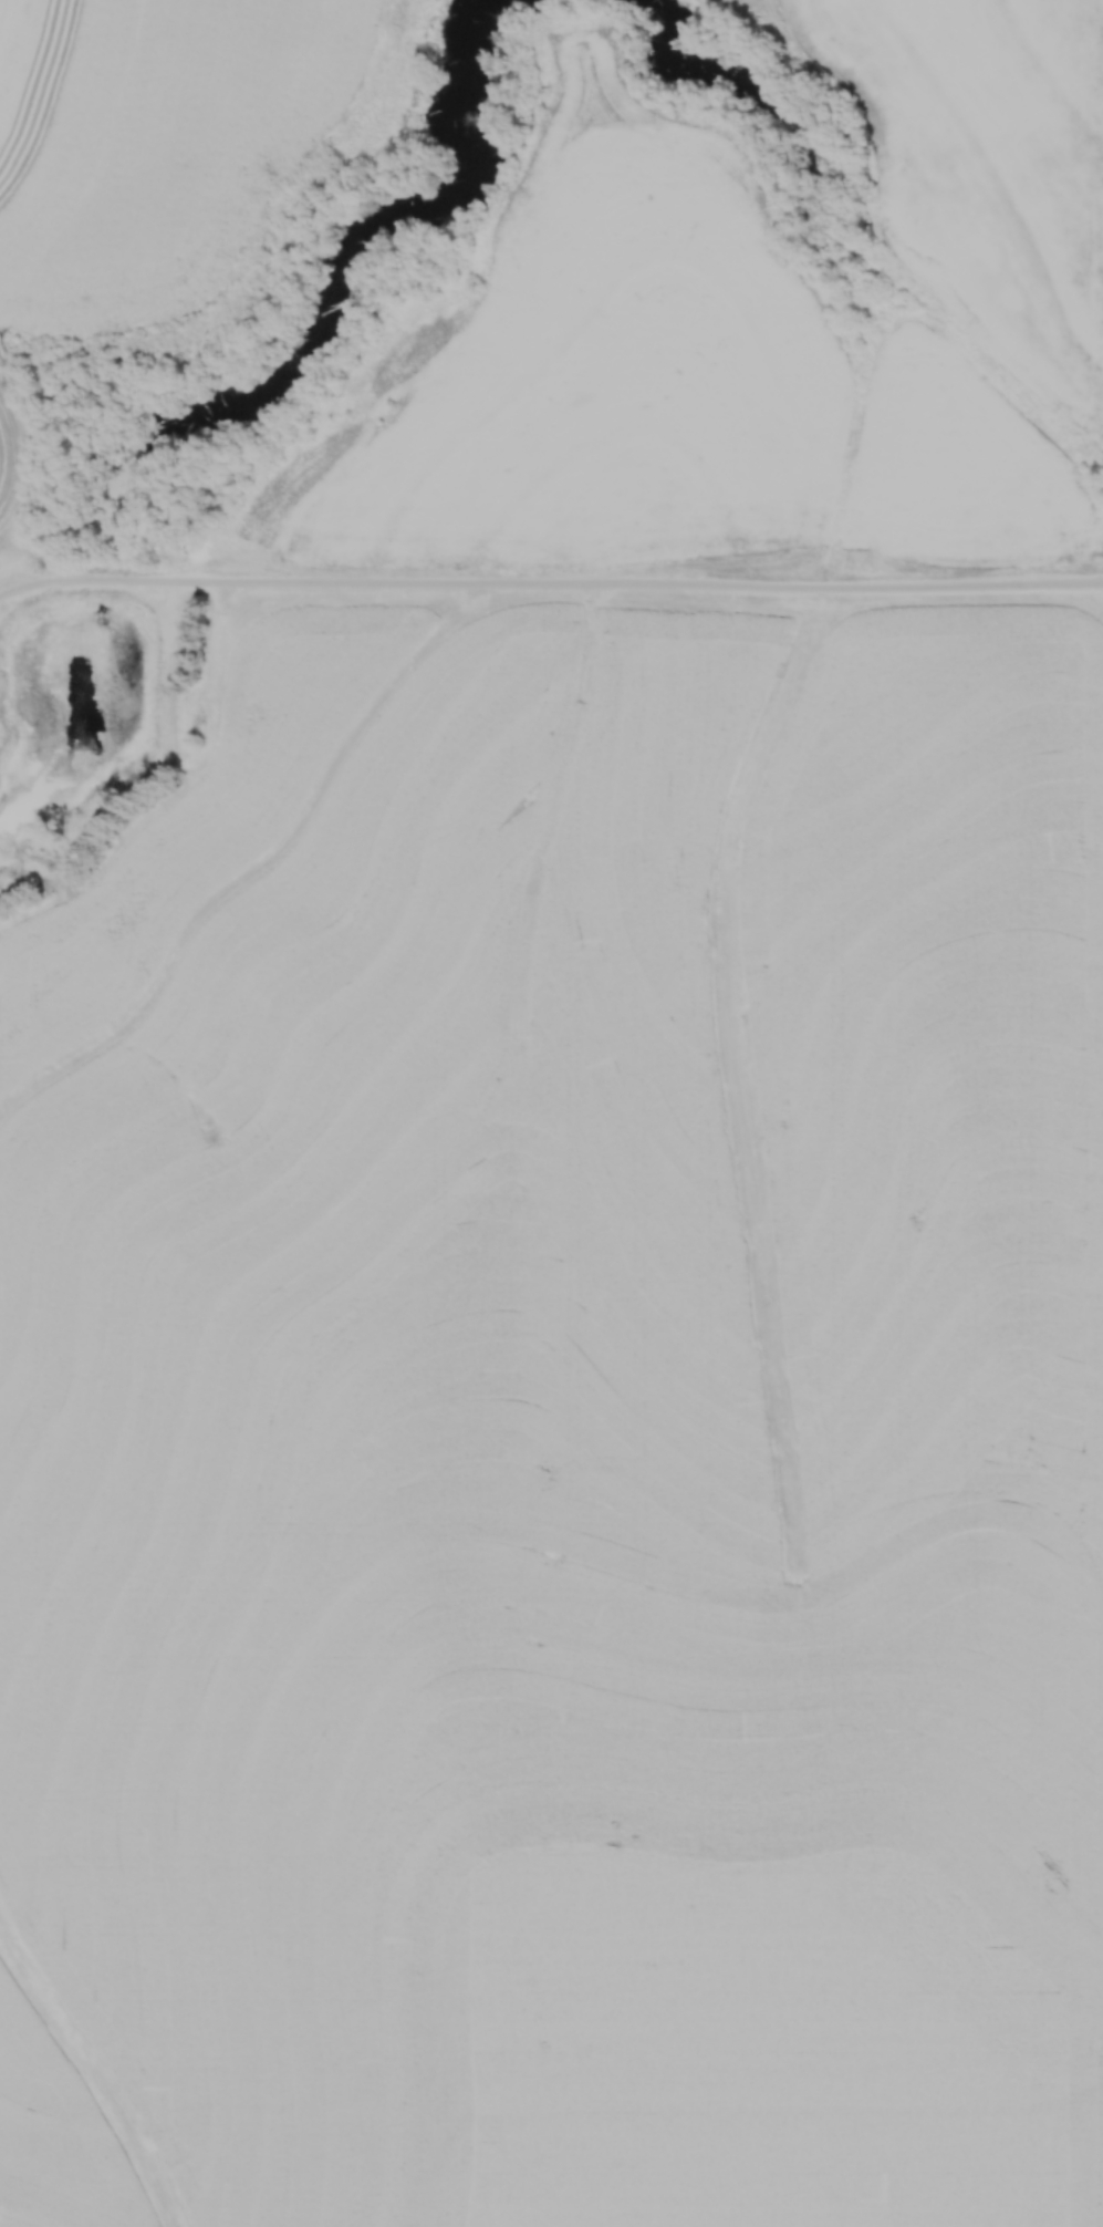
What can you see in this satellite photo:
road: (550, 587)

